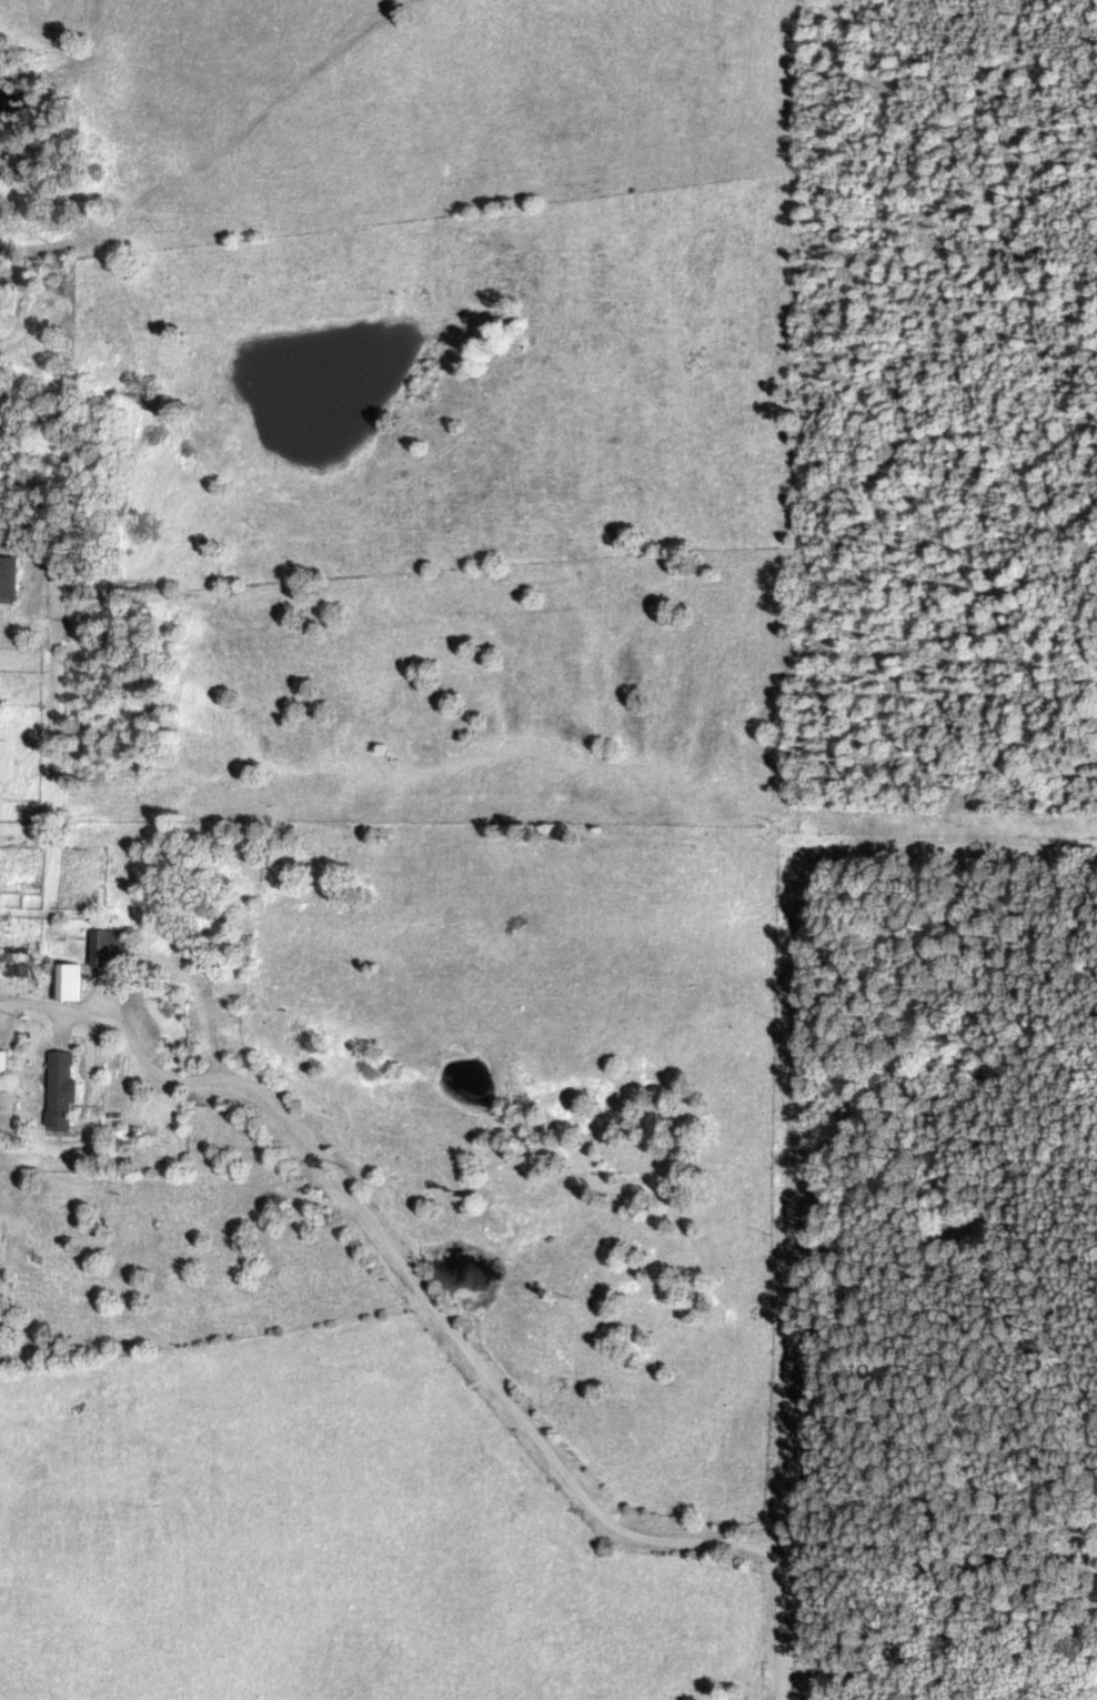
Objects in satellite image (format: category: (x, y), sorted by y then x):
building: (14, 581)
building: (2, 703)
building: (123, 948)
building: (82, 984)
building: (10, 1064)
building: (74, 1088)
road: (796, 1140)
road: (432, 1302)
road: (940, 1565)

